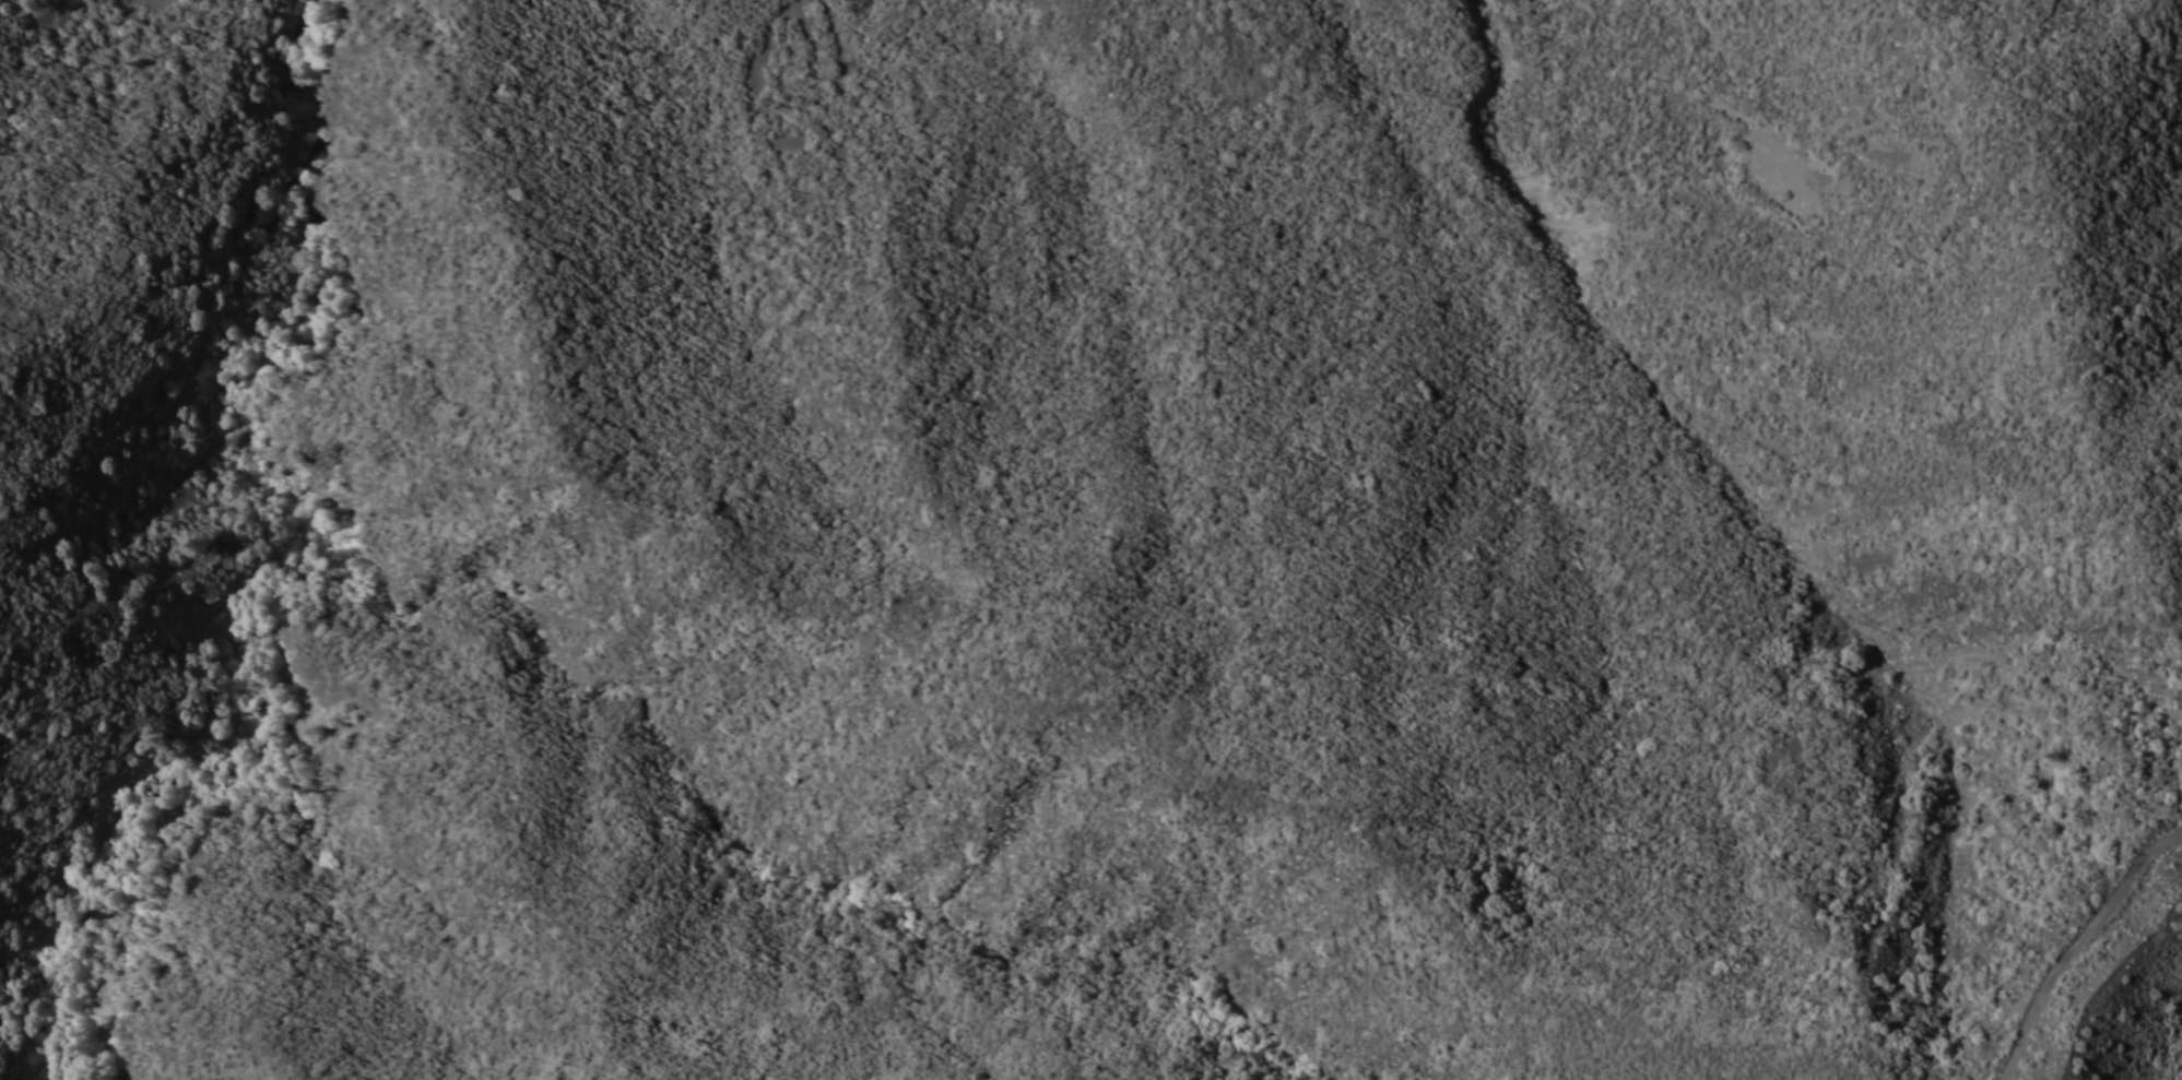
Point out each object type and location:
road: (2075, 945)

